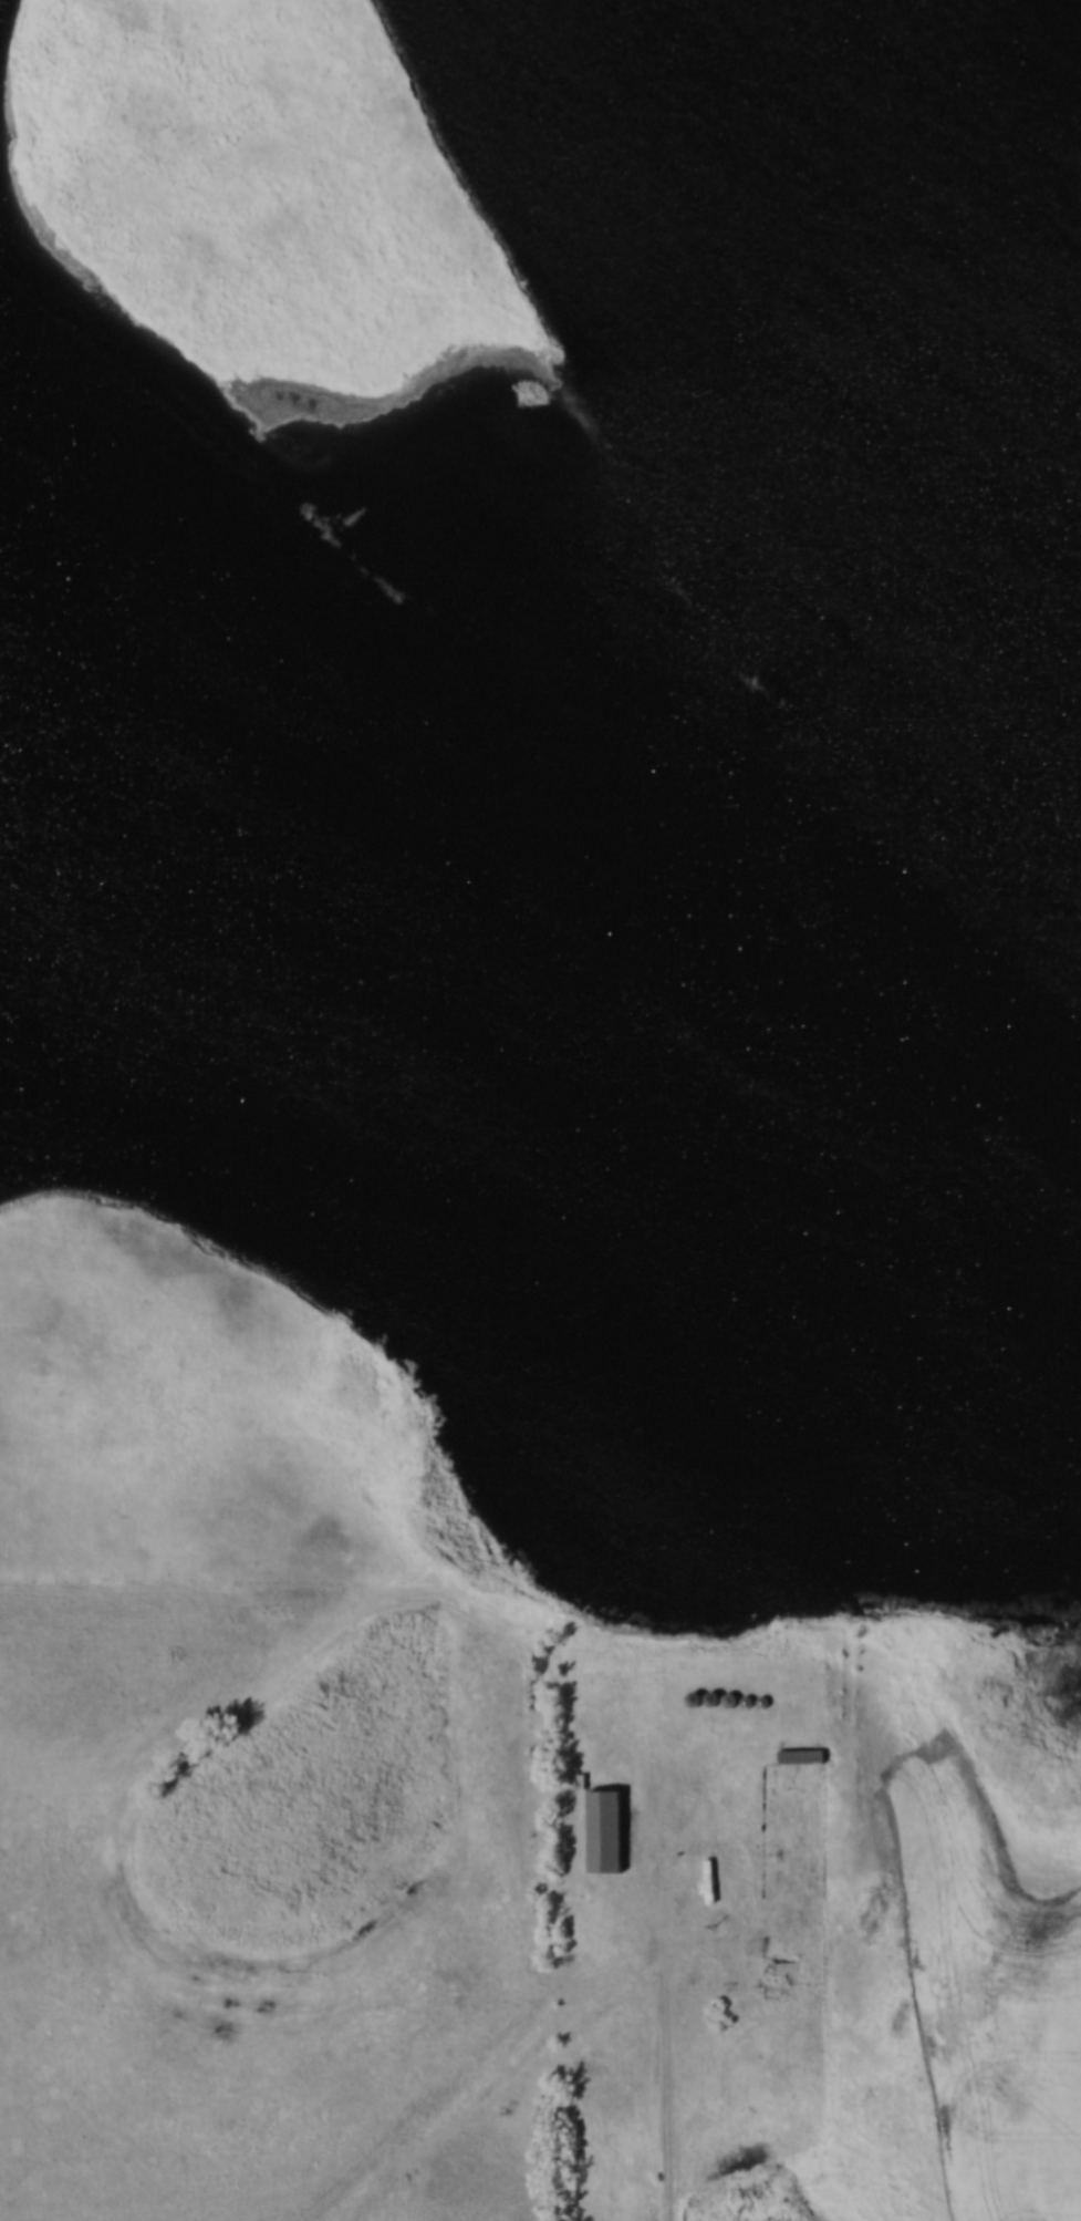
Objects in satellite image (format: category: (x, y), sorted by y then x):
building: (800, 1758)
building: (603, 1832)
building: (707, 1882)
building: (775, 1973)
road: (666, 2016)

